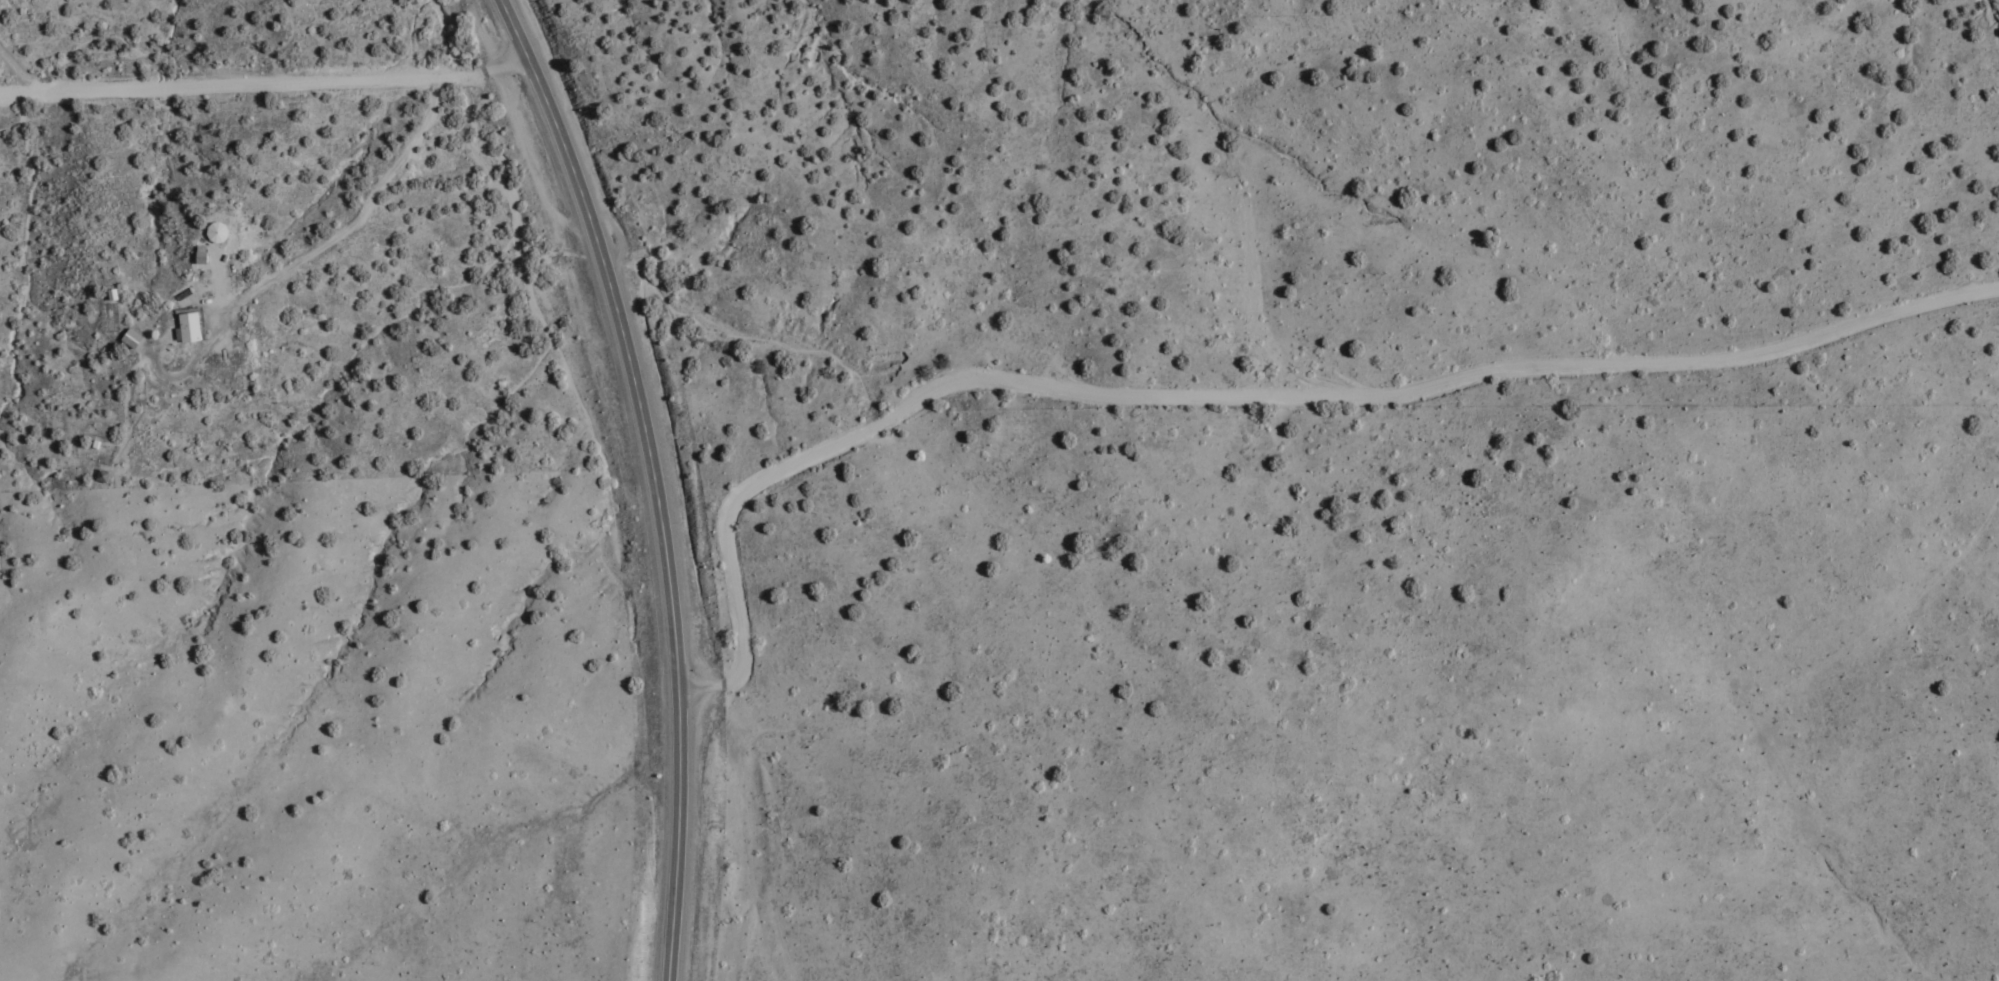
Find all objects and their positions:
road: (263, 84)
road: (357, 238)
road: (1234, 394)
road: (649, 478)

